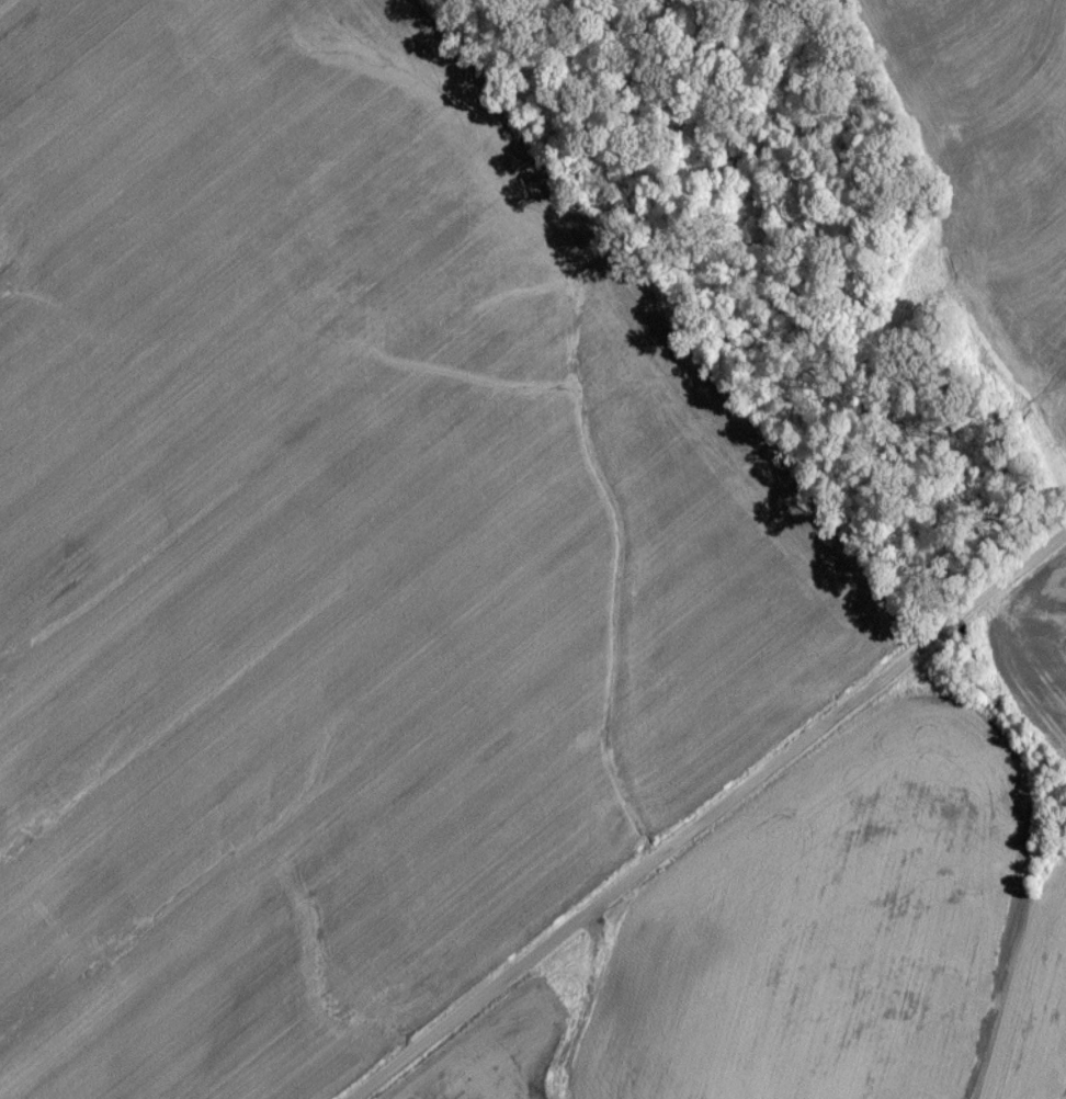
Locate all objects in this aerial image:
road: (699, 803)

